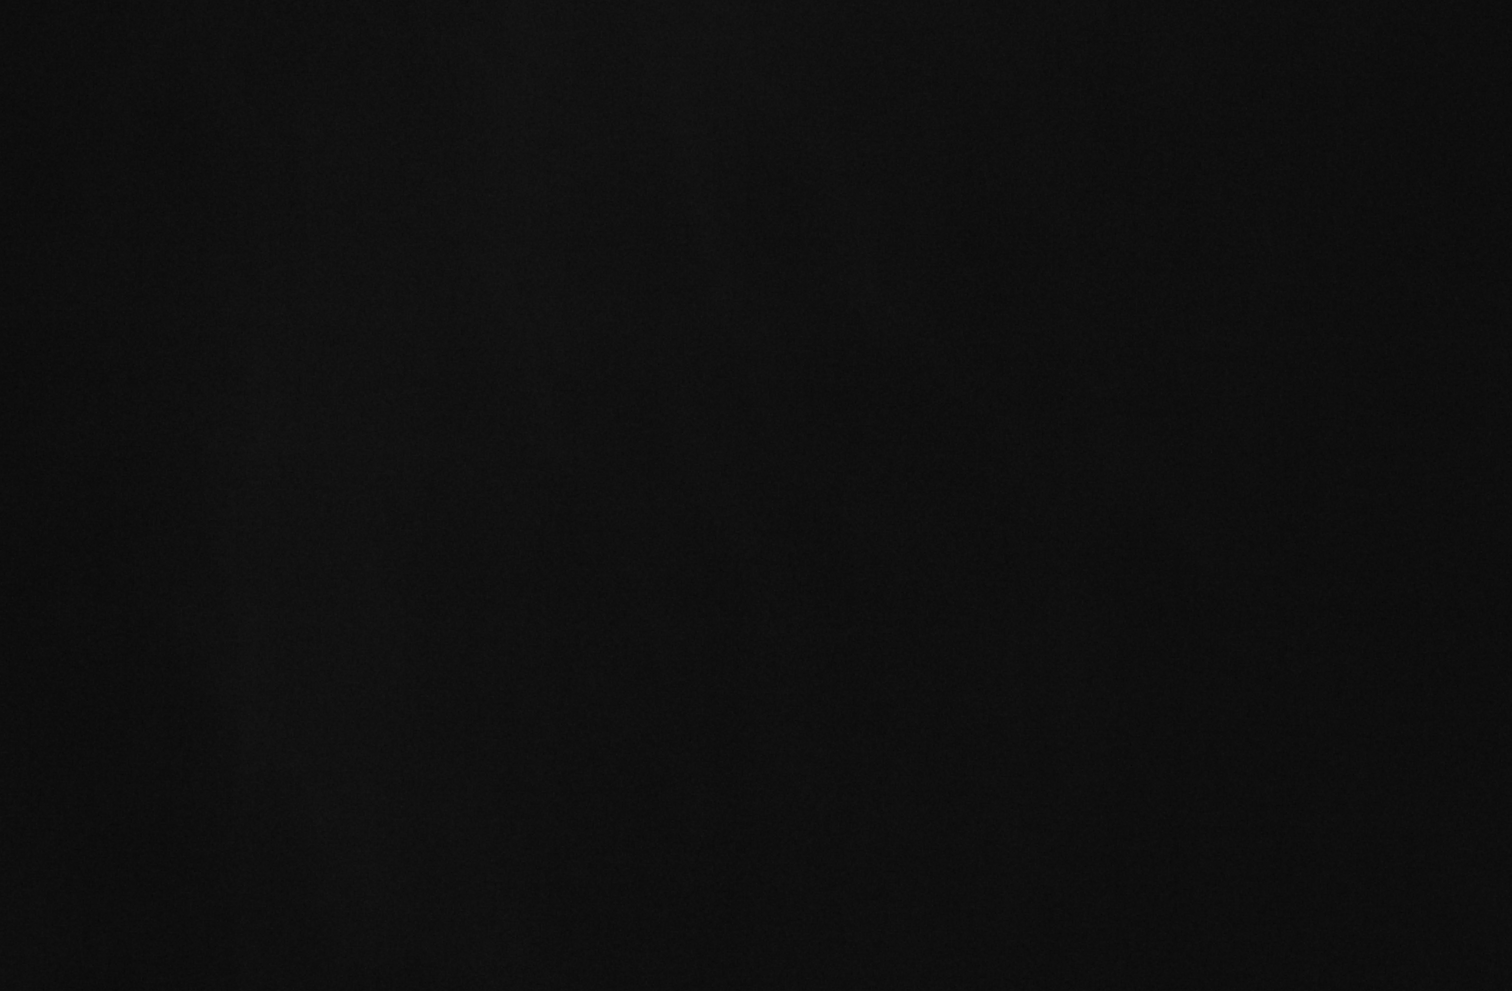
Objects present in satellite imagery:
river: (737, 495)

